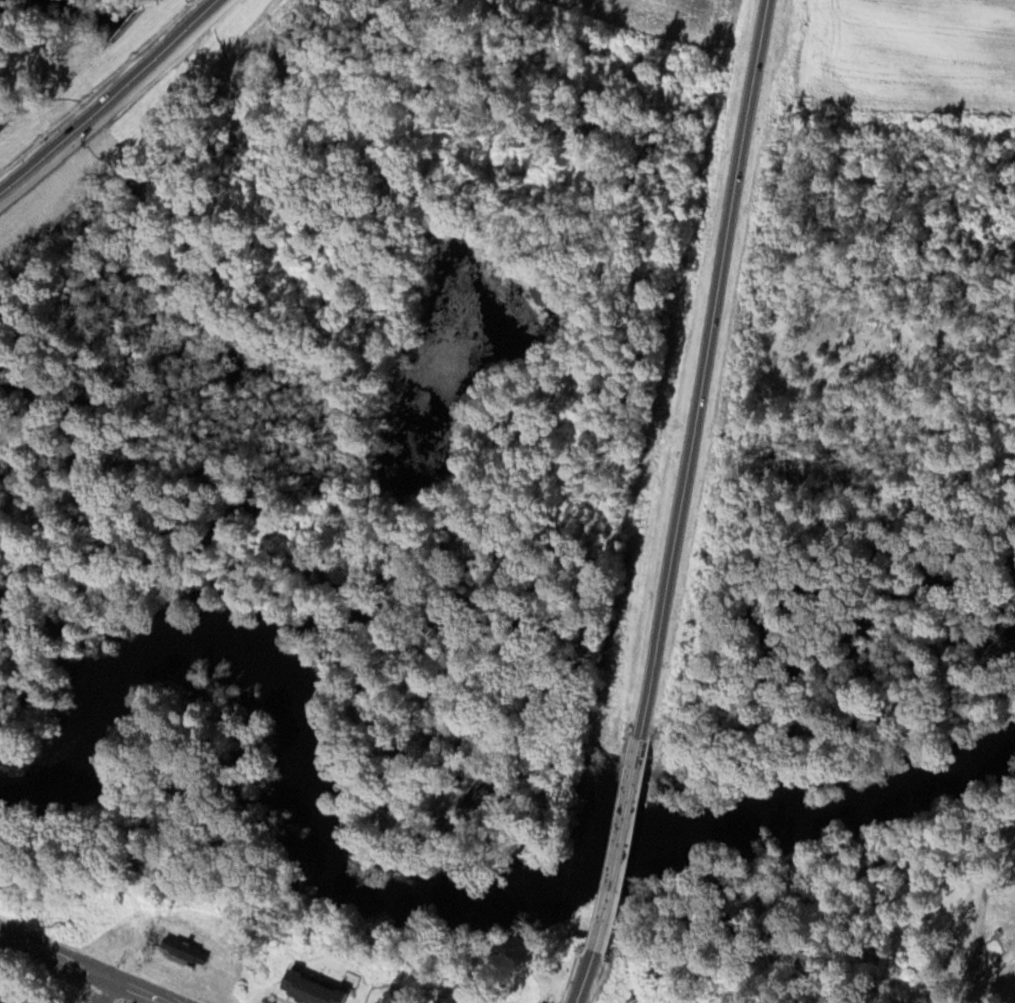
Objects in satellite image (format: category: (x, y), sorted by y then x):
road: (108, 99)
road: (703, 369)
road: (623, 844)
building: (182, 948)
road: (86, 966)
road: (584, 975)
road: (985, 976)
building: (306, 989)
road: (103, 990)

